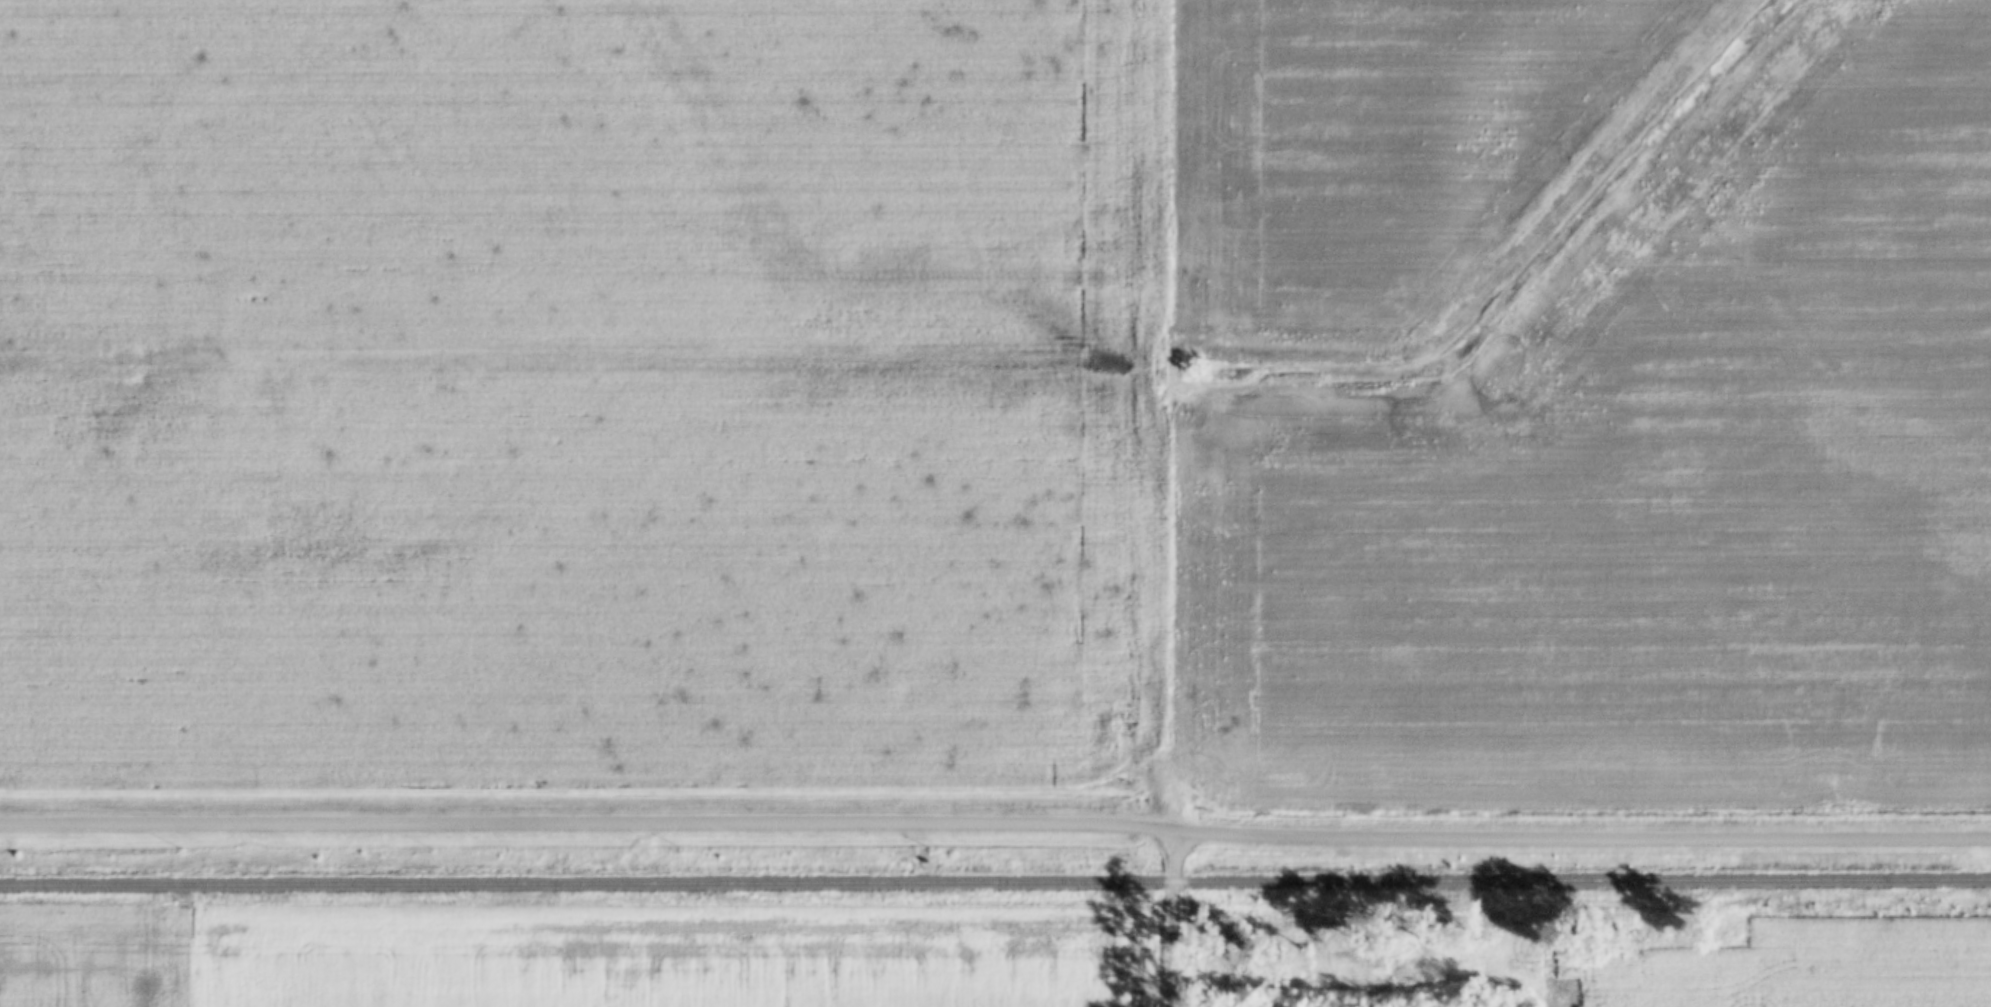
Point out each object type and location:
road: (995, 821)
railway: (995, 883)
road: (1172, 918)

